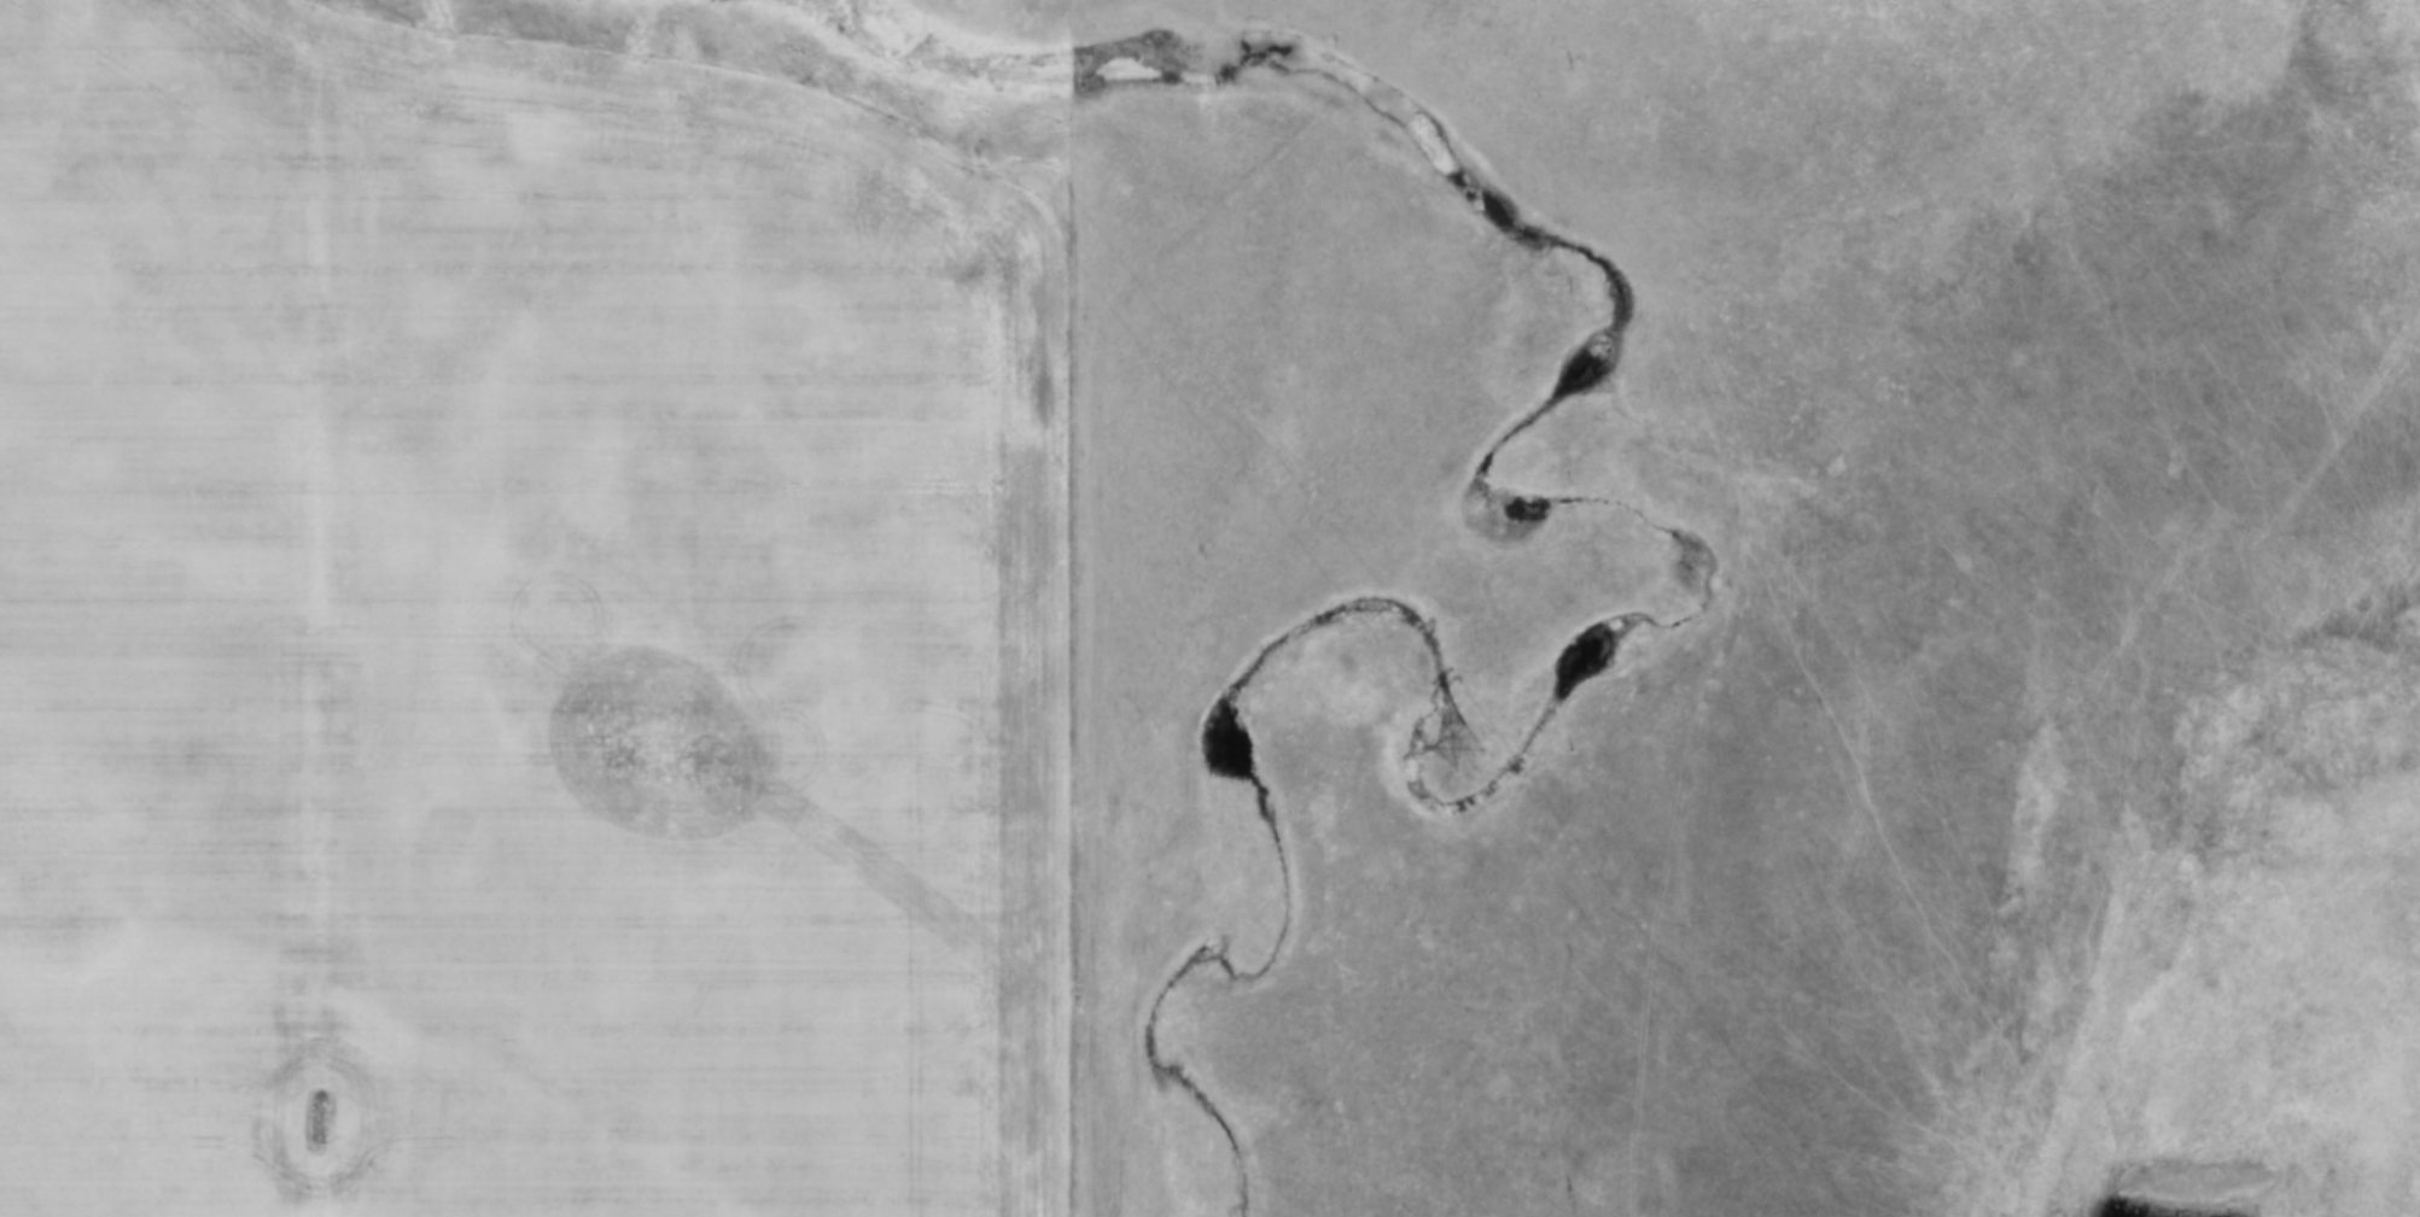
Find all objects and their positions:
road: (1742, 590)
power tower: (1470, 741)

